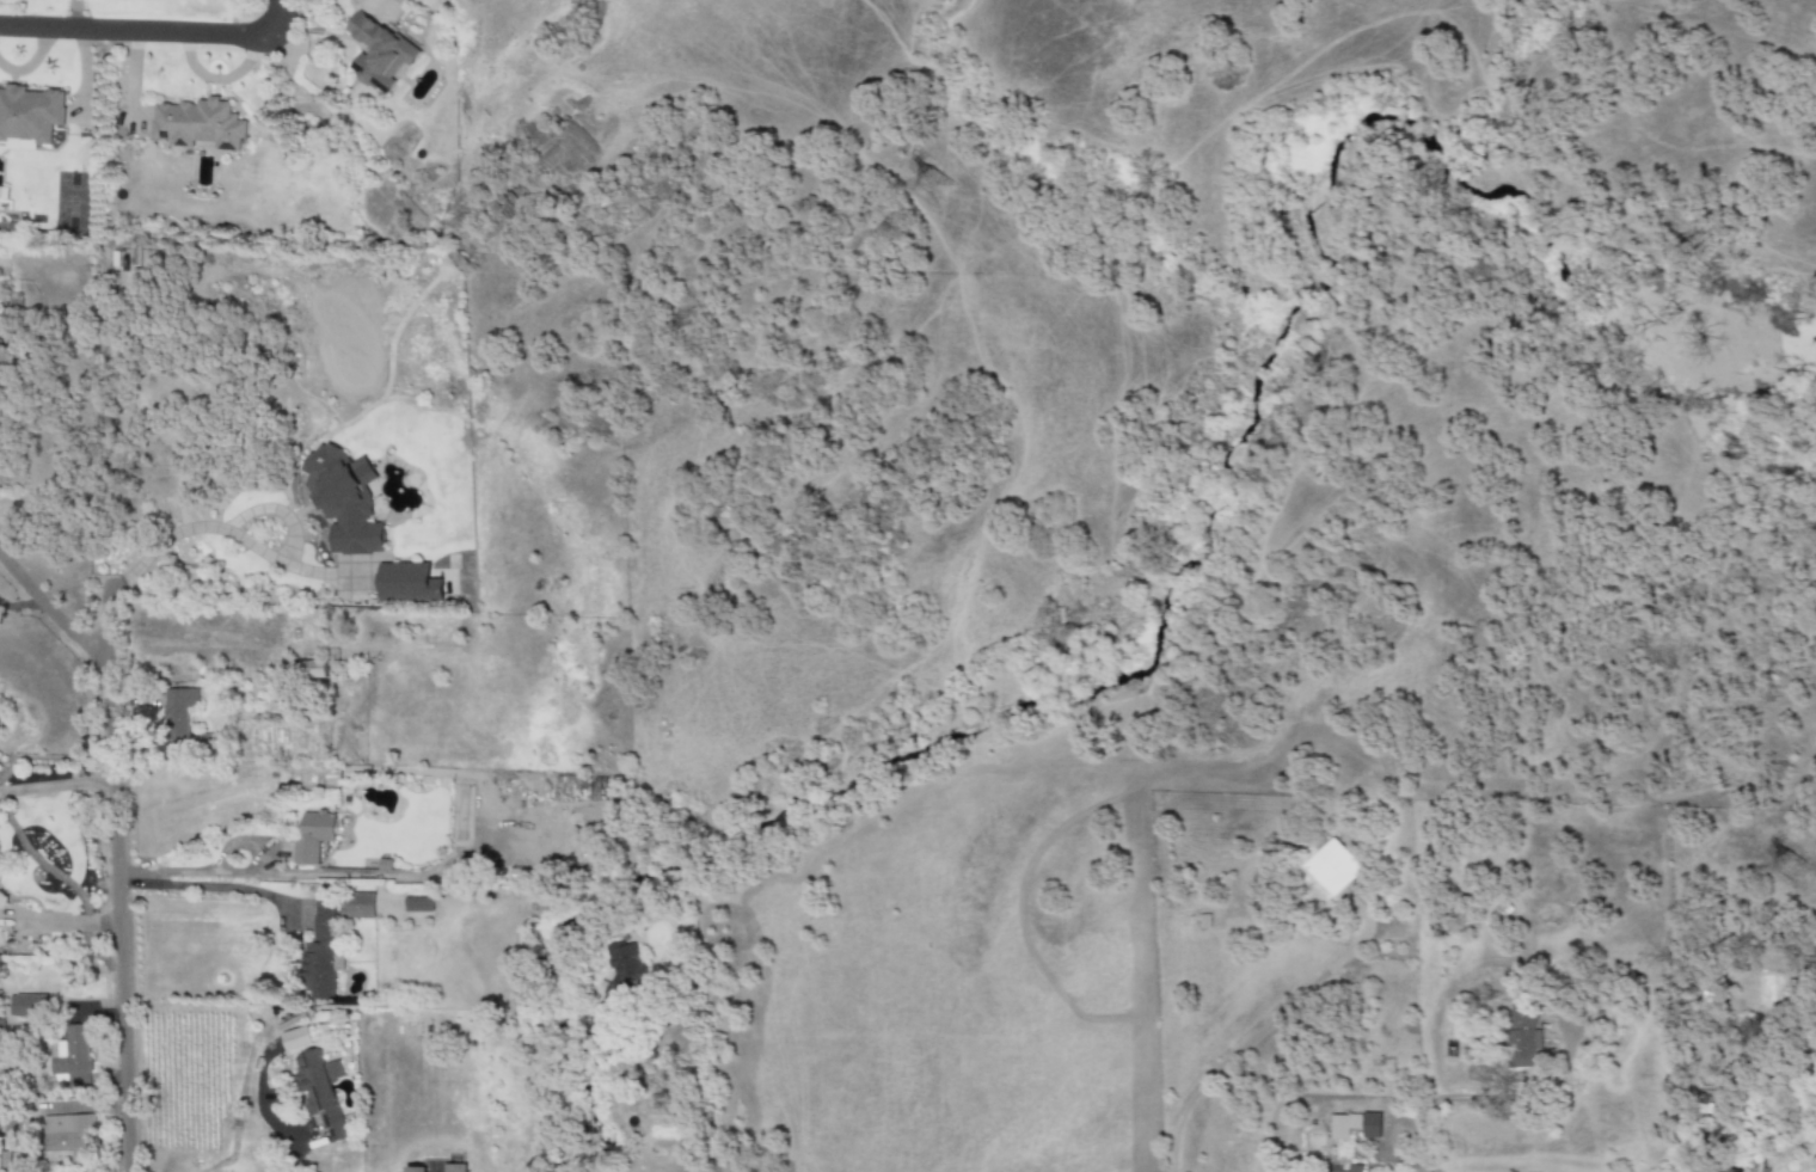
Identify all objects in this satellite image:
road: (157, 31)
building: (379, 54)
building: (29, 113)
building: (197, 125)
power tower: (937, 192)
building: (344, 501)
building: (409, 583)
road: (22, 603)
road: (106, 628)
building: (313, 669)
building: (180, 720)
road: (56, 786)
building: (313, 836)
road: (113, 842)
building: (1330, 867)
power tower: (1793, 872)
road: (200, 885)
building: (417, 904)
building: (357, 906)
building: (323, 951)
building: (625, 964)
building: (27, 1006)
road: (1266, 1026)
building: (1523, 1037)
building: (296, 1038)
building: (72, 1056)
building: (321, 1092)
road: (695, 1092)
road: (1504, 1097)
building: (1354, 1125)
road: (287, 1135)
building: (69, 1136)
road: (1412, 1143)
building: (421, 1168)
building: (454, 1168)
building: (1349, 1168)

